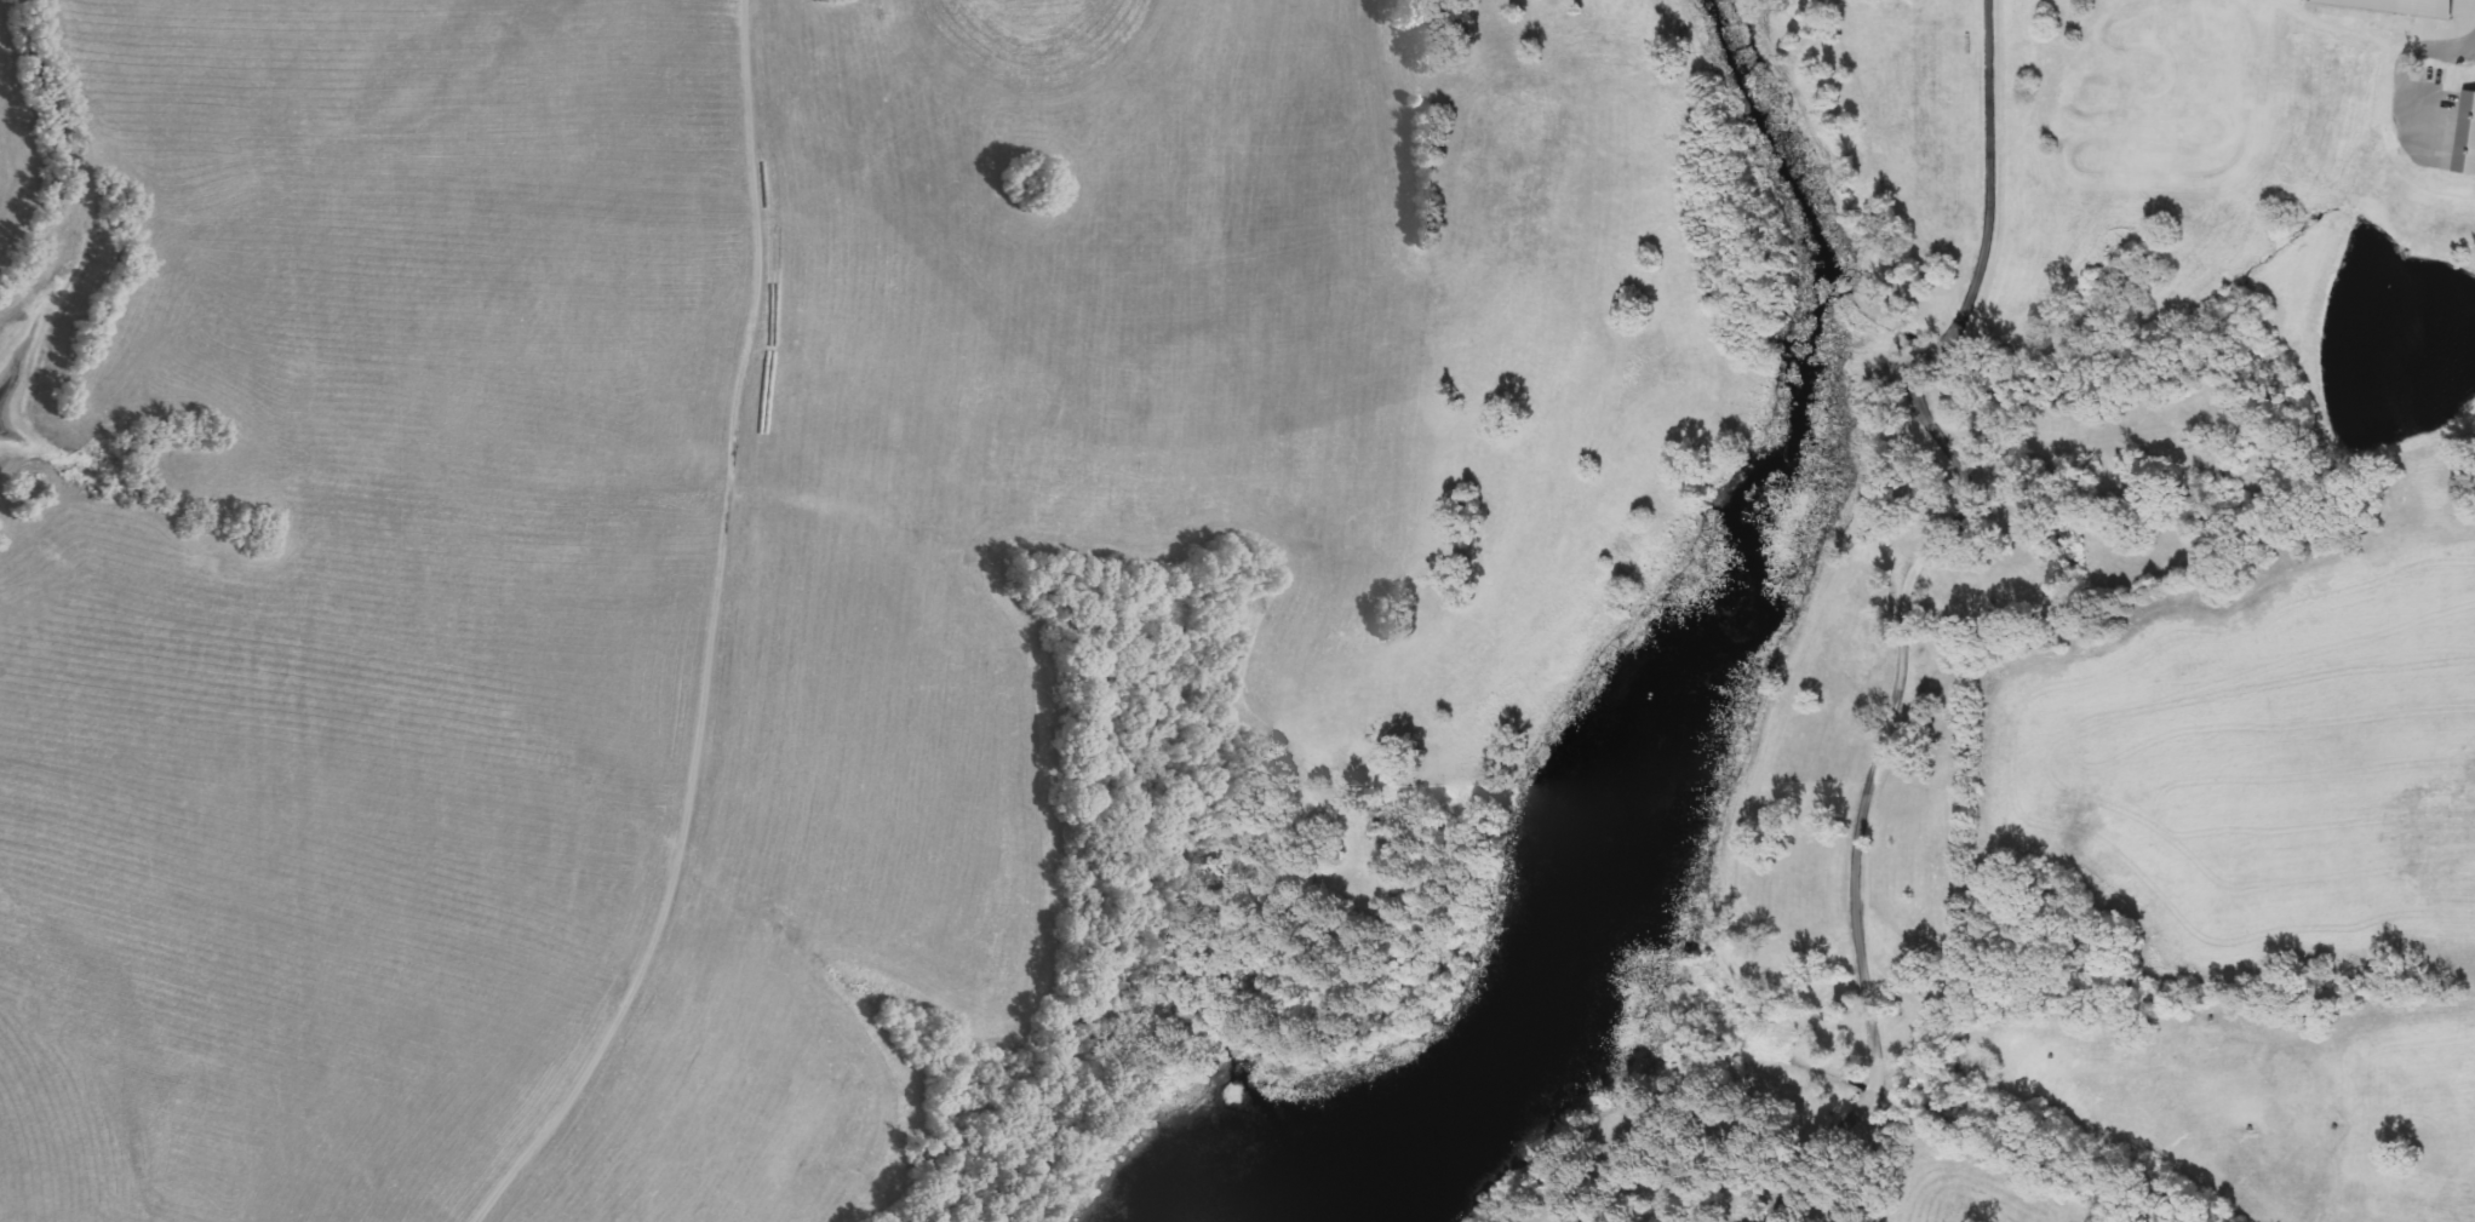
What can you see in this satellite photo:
building: (2399, 6)
road: (1903, 612)

